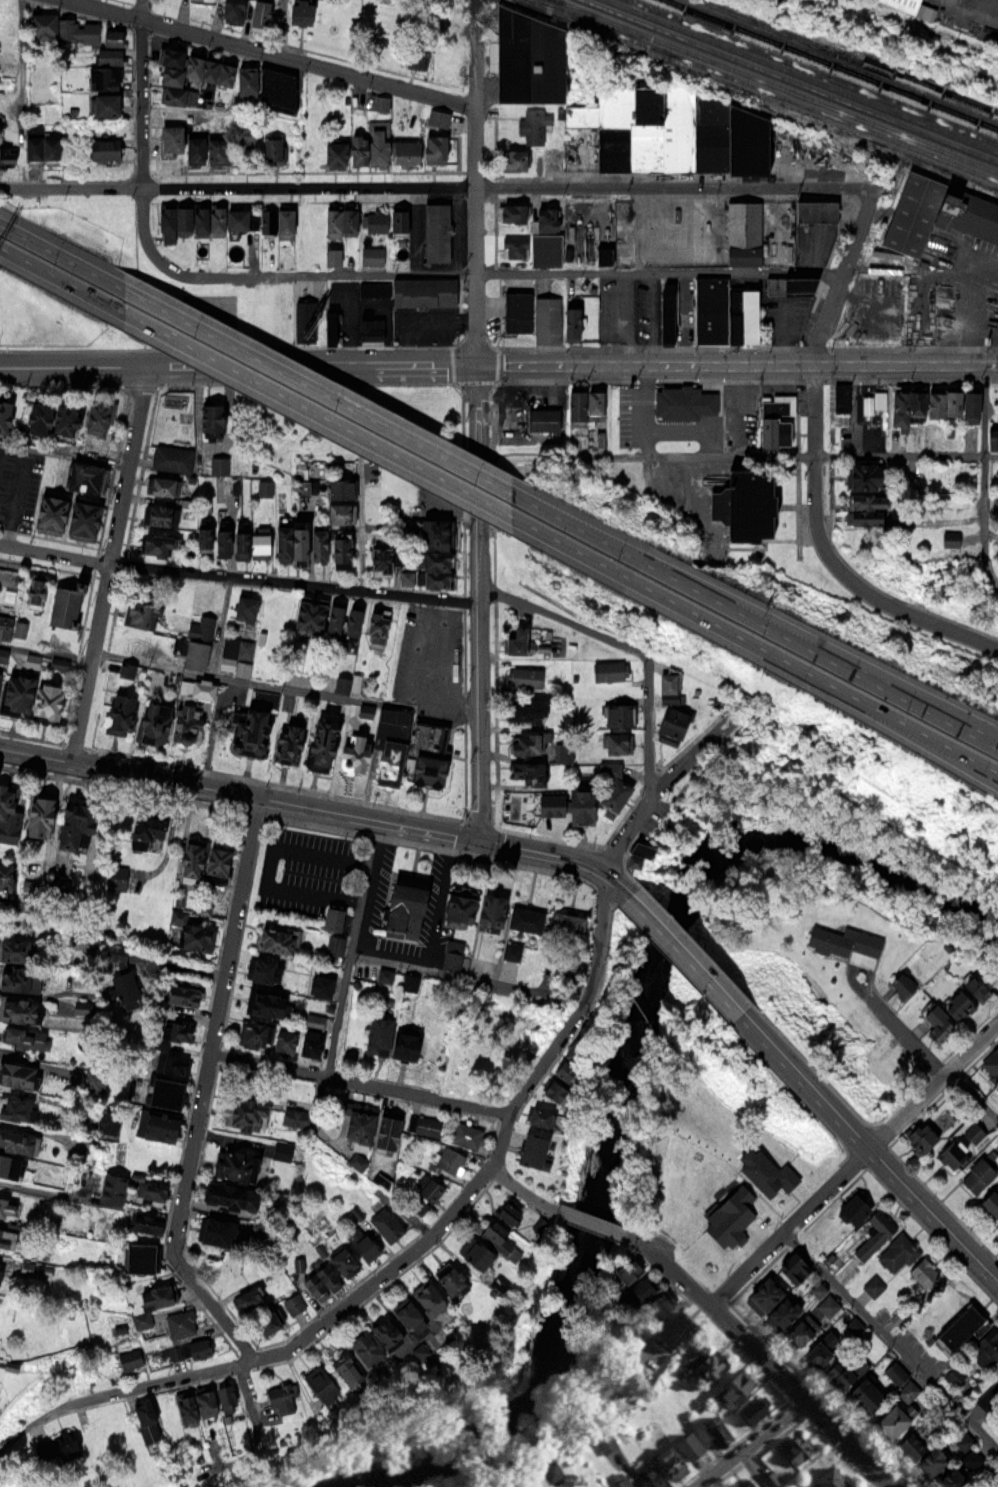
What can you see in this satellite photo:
building: (904, 3)
building: (204, 5)
building: (229, 10)
building: (300, 12)
building: (258, 13)
road: (279, 26)
building: (61, 27)
building: (110, 40)
road: (276, 52)
road: (21, 53)
building: (416, 54)
building: (108, 55)
railway: (849, 55)
building: (525, 58)
railway: (827, 66)
railway: (812, 72)
road: (479, 75)
railway: (804, 75)
building: (103, 77)
building: (234, 79)
railway: (791, 79)
railway: (773, 88)
building: (102, 104)
building: (394, 108)
building: (438, 117)
building: (533, 125)
road: (143, 132)
building: (242, 132)
building: (673, 132)
building: (191, 145)
building: (37, 146)
building: (102, 148)
building: (272, 149)
building: (354, 149)
building: (419, 150)
building: (513, 158)
railway: (984, 171)
road: (3, 186)
road: (439, 186)
building: (813, 211)
building: (513, 212)
building: (936, 213)
building: (224, 219)
building: (339, 220)
building: (386, 220)
building: (603, 221)
building: (436, 232)
building: (742, 233)
road: (478, 234)
building: (533, 248)
road: (57, 253)
building: (373, 256)
road: (499, 267)
road: (840, 273)
road: (55, 276)
building: (790, 284)
building: (414, 291)
building: (709, 309)
building: (517, 311)
building: (665, 313)
building: (741, 315)
building: (554, 320)
building: (884, 327)
building: (852, 328)
building: (368, 329)
road: (498, 360)
traffic signals: (477, 361)
road: (321, 391)
building: (841, 396)
building: (950, 401)
building: (585, 402)
building: (913, 402)
building: (869, 403)
building: (970, 404)
road: (316, 412)
building: (4, 413)
building: (98, 415)
building: (775, 415)
building: (49, 416)
building: (543, 417)
building: (210, 419)
road: (648, 421)
building: (990, 437)
road: (823, 454)
building: (172, 457)
building: (219, 464)
road: (985, 472)
building: (861, 473)
building: (997, 473)
road: (360, 474)
building: (83, 475)
road: (815, 483)
building: (159, 484)
building: (340, 486)
building: (995, 499)
building: (743, 503)
building: (865, 507)
building: (338, 511)
building: (47, 512)
building: (158, 513)
building: (80, 517)
building: (949, 537)
building: (289, 539)
building: (231, 540)
building: (156, 543)
building: (316, 543)
building: (340, 550)
building: (429, 556)
building: (378, 558)
road: (109, 562)
road: (238, 575)
road: (995, 584)
building: (34, 589)
building: (192, 595)
road: (478, 599)
building: (64, 602)
building: (245, 607)
building: (139, 614)
building: (306, 614)
building: (343, 620)
road: (929, 622)
road: (762, 623)
building: (4, 627)
building: (376, 628)
building: (514, 638)
building: (194, 643)
building: (138, 644)
road: (759, 645)
road: (622, 646)
building: (234, 650)
building: (3, 654)
building: (609, 670)
building: (524, 676)
building: (669, 686)
building: (200, 688)
road: (914, 695)
building: (29, 696)
building: (526, 708)
building: (615, 711)
building: (118, 713)
building: (151, 721)
building: (185, 723)
building: (253, 724)
building: (665, 730)
building: (287, 738)
building: (527, 741)
building: (615, 741)
building: (333, 743)
road: (697, 745)
building: (562, 751)
building: (388, 761)
road: (977, 763)
building: (426, 768)
building: (526, 770)
building: (609, 787)
building: (524, 803)
building: (579, 806)
road: (319, 808)
building: (35, 812)
building: (8, 814)
building: (71, 821)
road: (630, 825)
building: (144, 828)
traffic signals: (479, 839)
building: (201, 858)
road: (275, 862)
parking lot: (344, 886)
building: (471, 907)
building: (401, 909)
building: (332, 918)
building: (193, 937)
building: (561, 938)
building: (274, 939)
building: (13, 947)
road: (684, 951)
building: (450, 954)
road: (391, 956)
building: (263, 970)
building: (903, 983)
building: (977, 984)
building: (319, 985)
building: (123, 988)
building: (180, 990)
building: (263, 1002)
building: (16, 1003)
building: (957, 1004)
building: (314, 1020)
road: (566, 1025)
building: (177, 1026)
building: (939, 1029)
building: (250, 1034)
road: (912, 1036)
building: (25, 1037)
building: (282, 1038)
building: (386, 1038)
building: (308, 1042)
building: (172, 1063)
building: (991, 1064)
building: (559, 1070)
river: (625, 1070)
building: (17, 1075)
road: (363, 1079)
building: (550, 1089)
building: (997, 1089)
building: (162, 1091)
road: (205, 1091)
road: (971, 1102)
building: (12, 1108)
building: (243, 1113)
building: (537, 1114)
building: (295, 1116)
building: (104, 1121)
building: (354, 1121)
building: (157, 1124)
building: (424, 1124)
building: (381, 1129)
building: (973, 1133)
building: (466, 1134)
building: (920, 1135)
road: (866, 1148)
building: (281, 1149)
building: (529, 1149)
building: (15, 1150)
building: (952, 1152)
building: (354, 1159)
building: (448, 1160)
road: (852, 1162)
building: (234, 1164)
building: (977, 1174)
building: (110, 1191)
road: (516, 1191)
building: (150, 1193)
building: (426, 1193)
building: (225, 1194)
building: (990, 1200)
building: (7, 1205)
building: (849, 1210)
building: (504, 1212)
road: (587, 1221)
building: (144, 1222)
building: (386, 1223)
building: (211, 1229)
building: (870, 1235)
building: (495, 1236)
building: (6, 1238)
building: (361, 1242)
building: (897, 1252)
building: (474, 1253)
building: (136, 1257)
building: (341, 1261)
building: (0, 1266)
building: (794, 1266)
road: (673, 1268)
building: (923, 1270)
building: (626, 1271)
building: (446, 1278)
building: (874, 1284)
building: (818, 1288)
building: (764, 1293)
building: (425, 1296)
building: (649, 1297)
building: (246, 1298)
building: (151, 1301)
building: (829, 1304)
building: (294, 1305)
building: (781, 1312)
building: (405, 1313)
building: (178, 1322)
building: (266, 1323)
building: (855, 1325)
building: (958, 1326)
building: (802, 1329)
building: (670, 1331)
road: (894, 1334)
building: (375, 1340)
building: (186, 1347)
building: (821, 1348)
building: (987, 1348)
road: (758, 1353)
road: (268, 1355)
building: (129, 1357)
building: (346, 1368)
building: (704, 1368)
building: (837, 1373)
building: (995, 1382)
building: (321, 1384)
building: (730, 1390)
building: (864, 1395)
building: (278, 1397)
building: (203, 1401)
building: (751, 1412)
building: (890, 1420)
building: (146, 1426)
building: (714, 1432)
building: (603, 1442)
road: (747, 1444)
road: (843, 1444)
building: (57, 1446)
building: (686, 1446)
building: (792, 1449)
building: (920, 1453)
building: (667, 1464)
building: (645, 1477)
building: (769, 1478)
building: (948, 1478)
building: (825, 1479)
building: (616, 1480)
building: (743, 1484)

